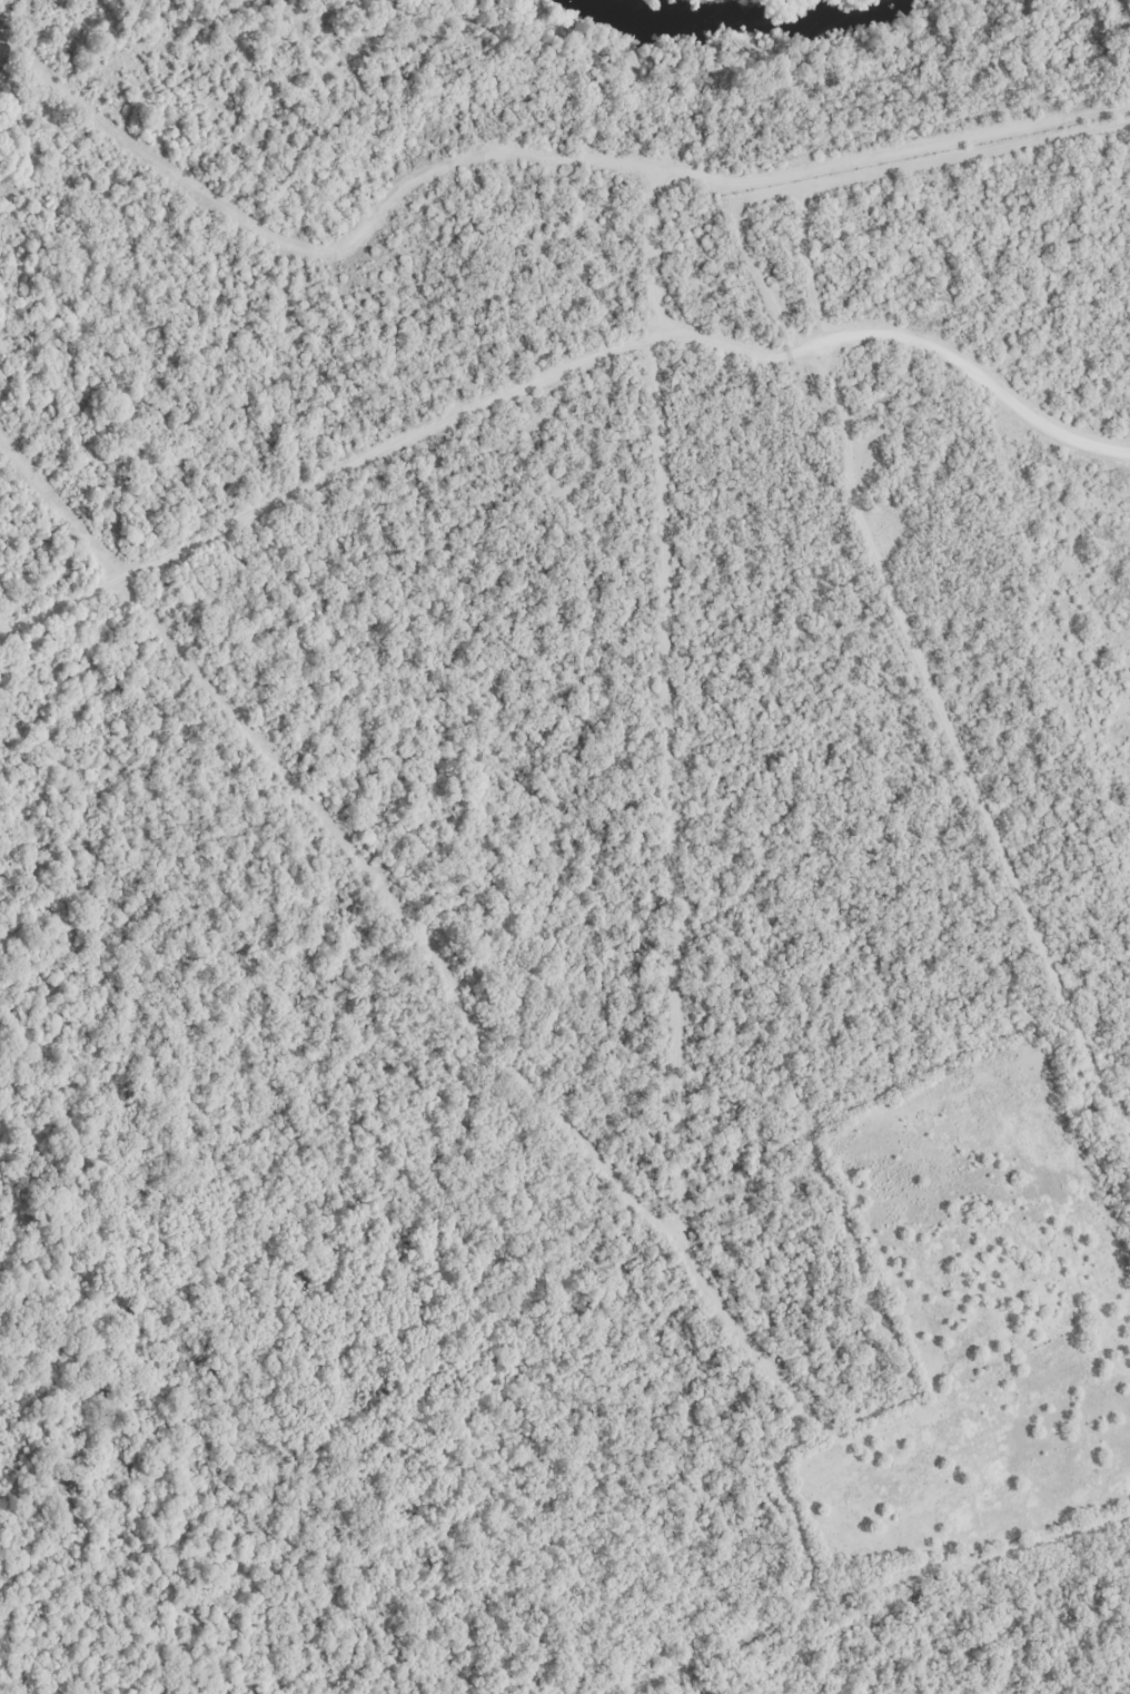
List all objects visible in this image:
river: (746, 26)
road: (561, 373)
road: (850, 481)
road: (734, 1649)

